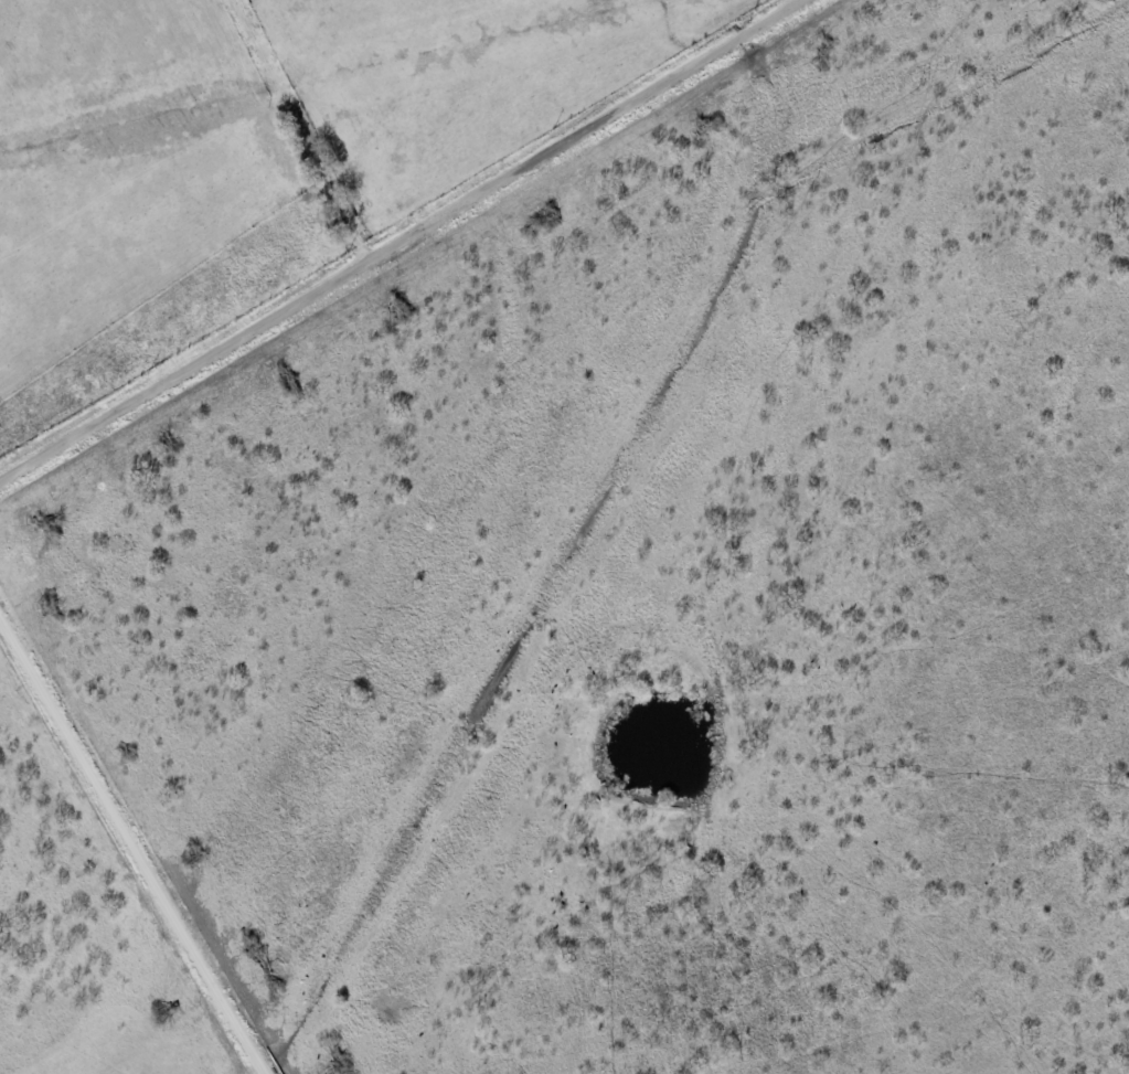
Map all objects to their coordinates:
road: (406, 244)
road: (137, 839)

